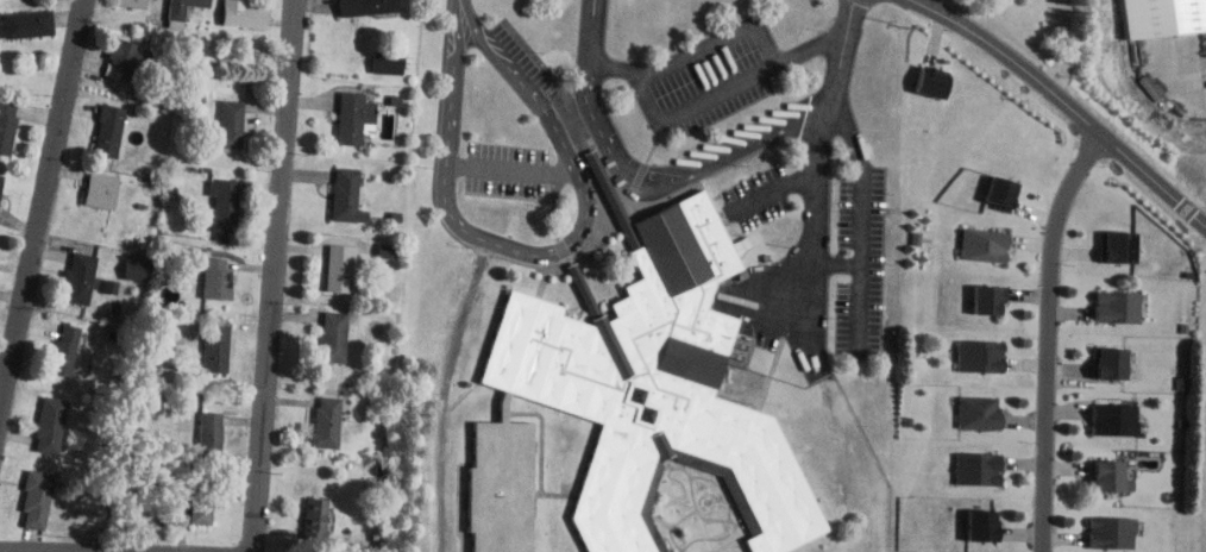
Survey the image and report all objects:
building: (132, 2)
road: (460, 5)
building: (366, 6)
building: (182, 7)
building: (244, 13)
building: (1163, 15)
building: (30, 23)
road: (733, 33)
building: (130, 52)
parking lot: (523, 61)
building: (388, 62)
parking lot: (705, 80)
building: (930, 84)
road: (1182, 86)
road: (1066, 102)
road: (684, 107)
building: (356, 120)
building: (231, 124)
building: (7, 127)
building: (108, 130)
parking lot: (505, 169)
road: (513, 170)
road: (693, 170)
road: (779, 178)
building: (1, 182)
building: (101, 192)
building: (346, 195)
parking lot: (758, 195)
building: (1001, 195)
road: (43, 197)
building: (226, 206)
road: (865, 213)
road: (821, 222)
building: (988, 245)
building: (1118, 247)
building: (383, 249)
road: (541, 251)
parking lot: (862, 256)
road: (841, 262)
building: (341, 268)
road: (274, 276)
building: (81, 280)
building: (218, 281)
building: (991, 299)
building: (1117, 306)
building: (333, 335)
road: (1049, 335)
building: (216, 349)
building: (67, 350)
building: (982, 356)
building: (1112, 363)
building: (655, 385)
building: (980, 413)
building: (1117, 419)
building: (328, 420)
building: (51, 425)
building: (211, 433)
building: (980, 469)
building: (1111, 476)
building: (500, 487)
building: (199, 497)
building: (37, 498)
building: (318, 517)
building: (985, 526)
building: (1110, 531)
road: (1, 551)

